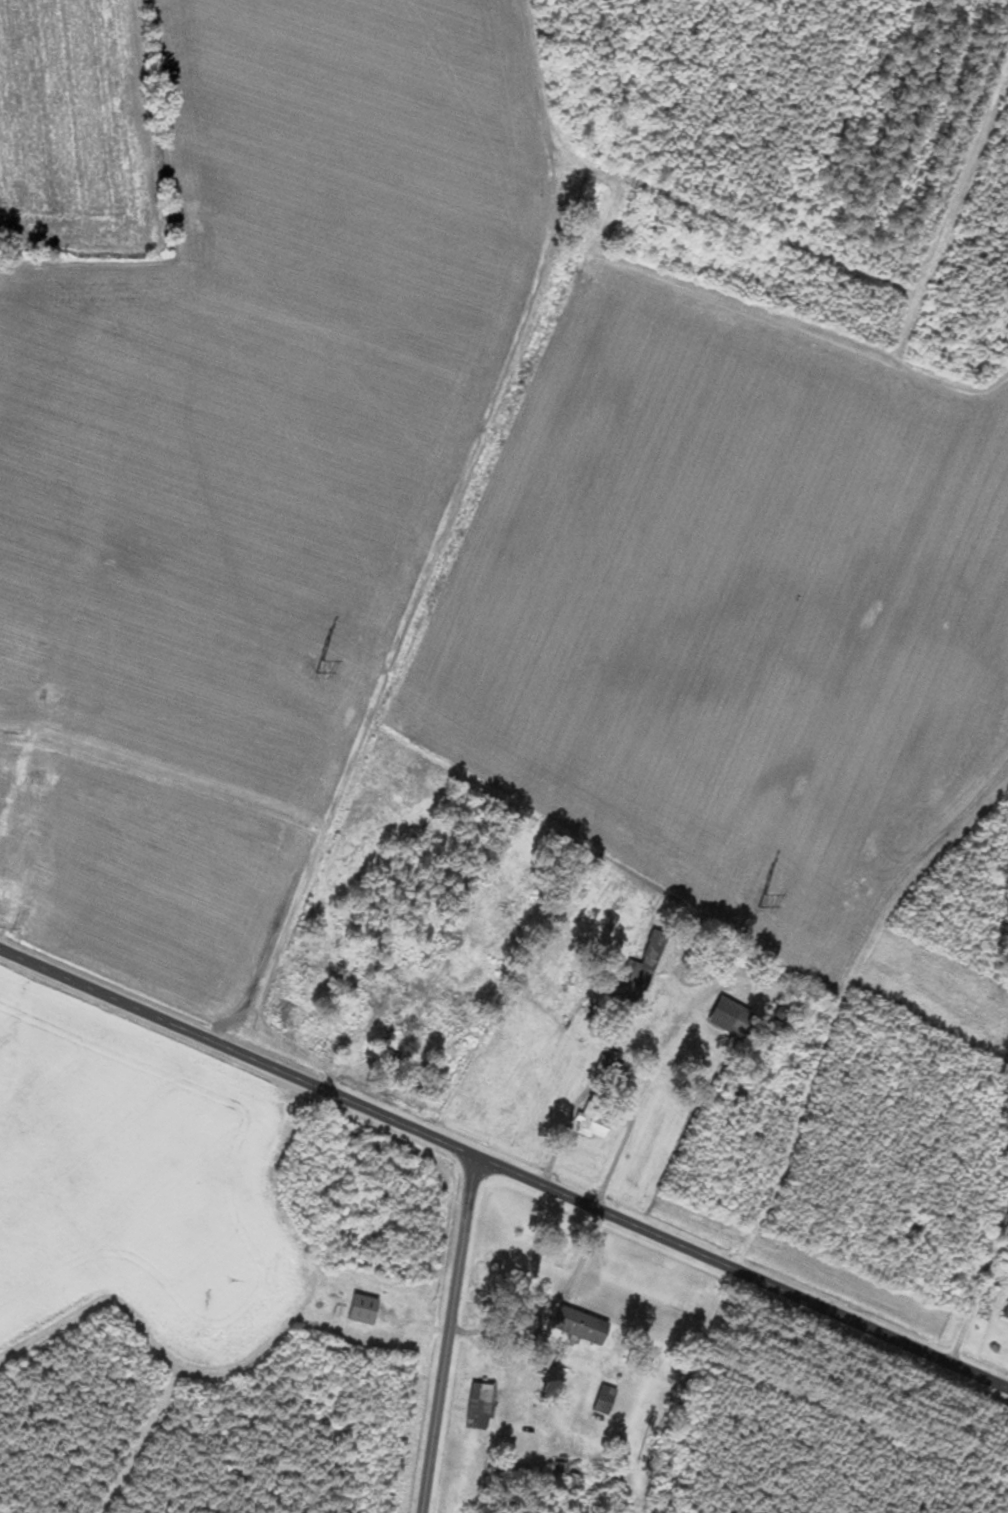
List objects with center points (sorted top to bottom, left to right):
power tower: (315, 667)
building: (74, 697)
building: (5, 746)
building: (47, 756)
building: (1, 777)
building: (10, 853)
power tower: (759, 900)
building: (634, 981)
building: (272, 1006)
building: (723, 1014)
building: (590, 1123)
road: (504, 1169)
building: (1001, 1305)
road: (449, 1335)
building: (597, 1398)
building: (472, 1405)

